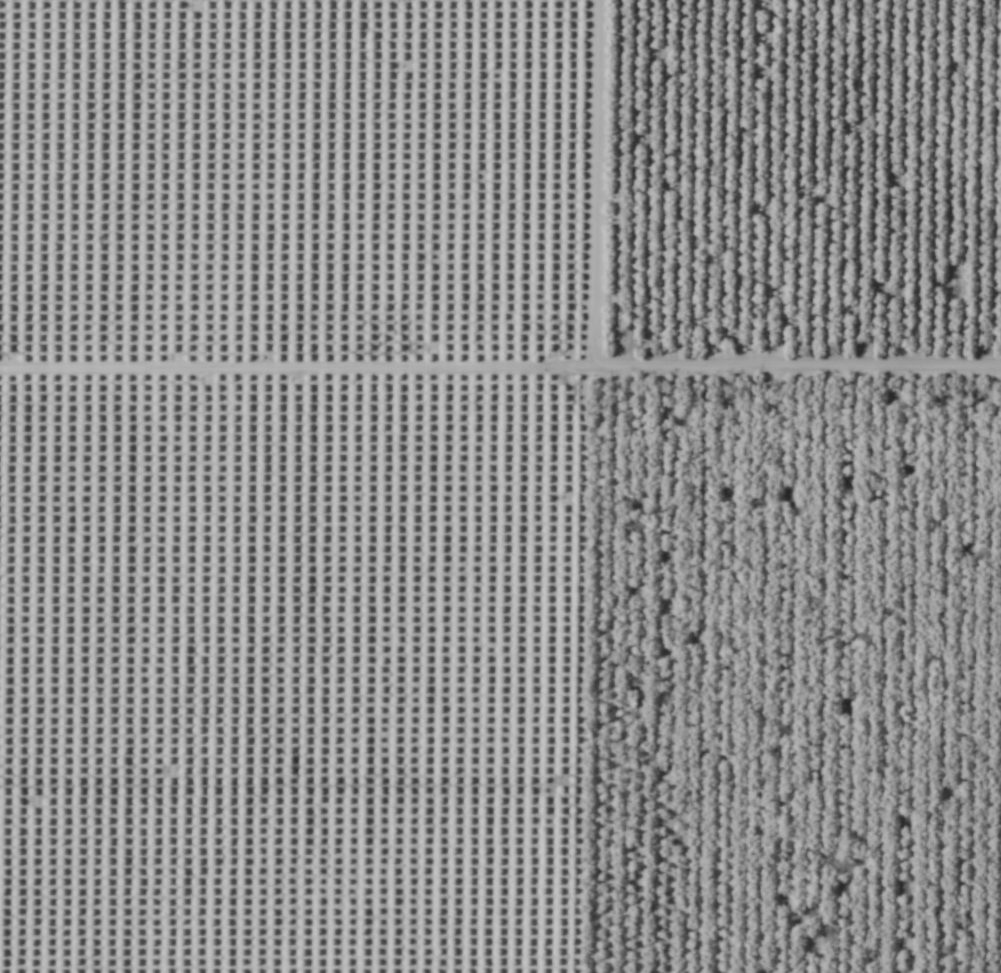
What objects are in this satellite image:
crop: (500, 486)
road: (508, 486)

